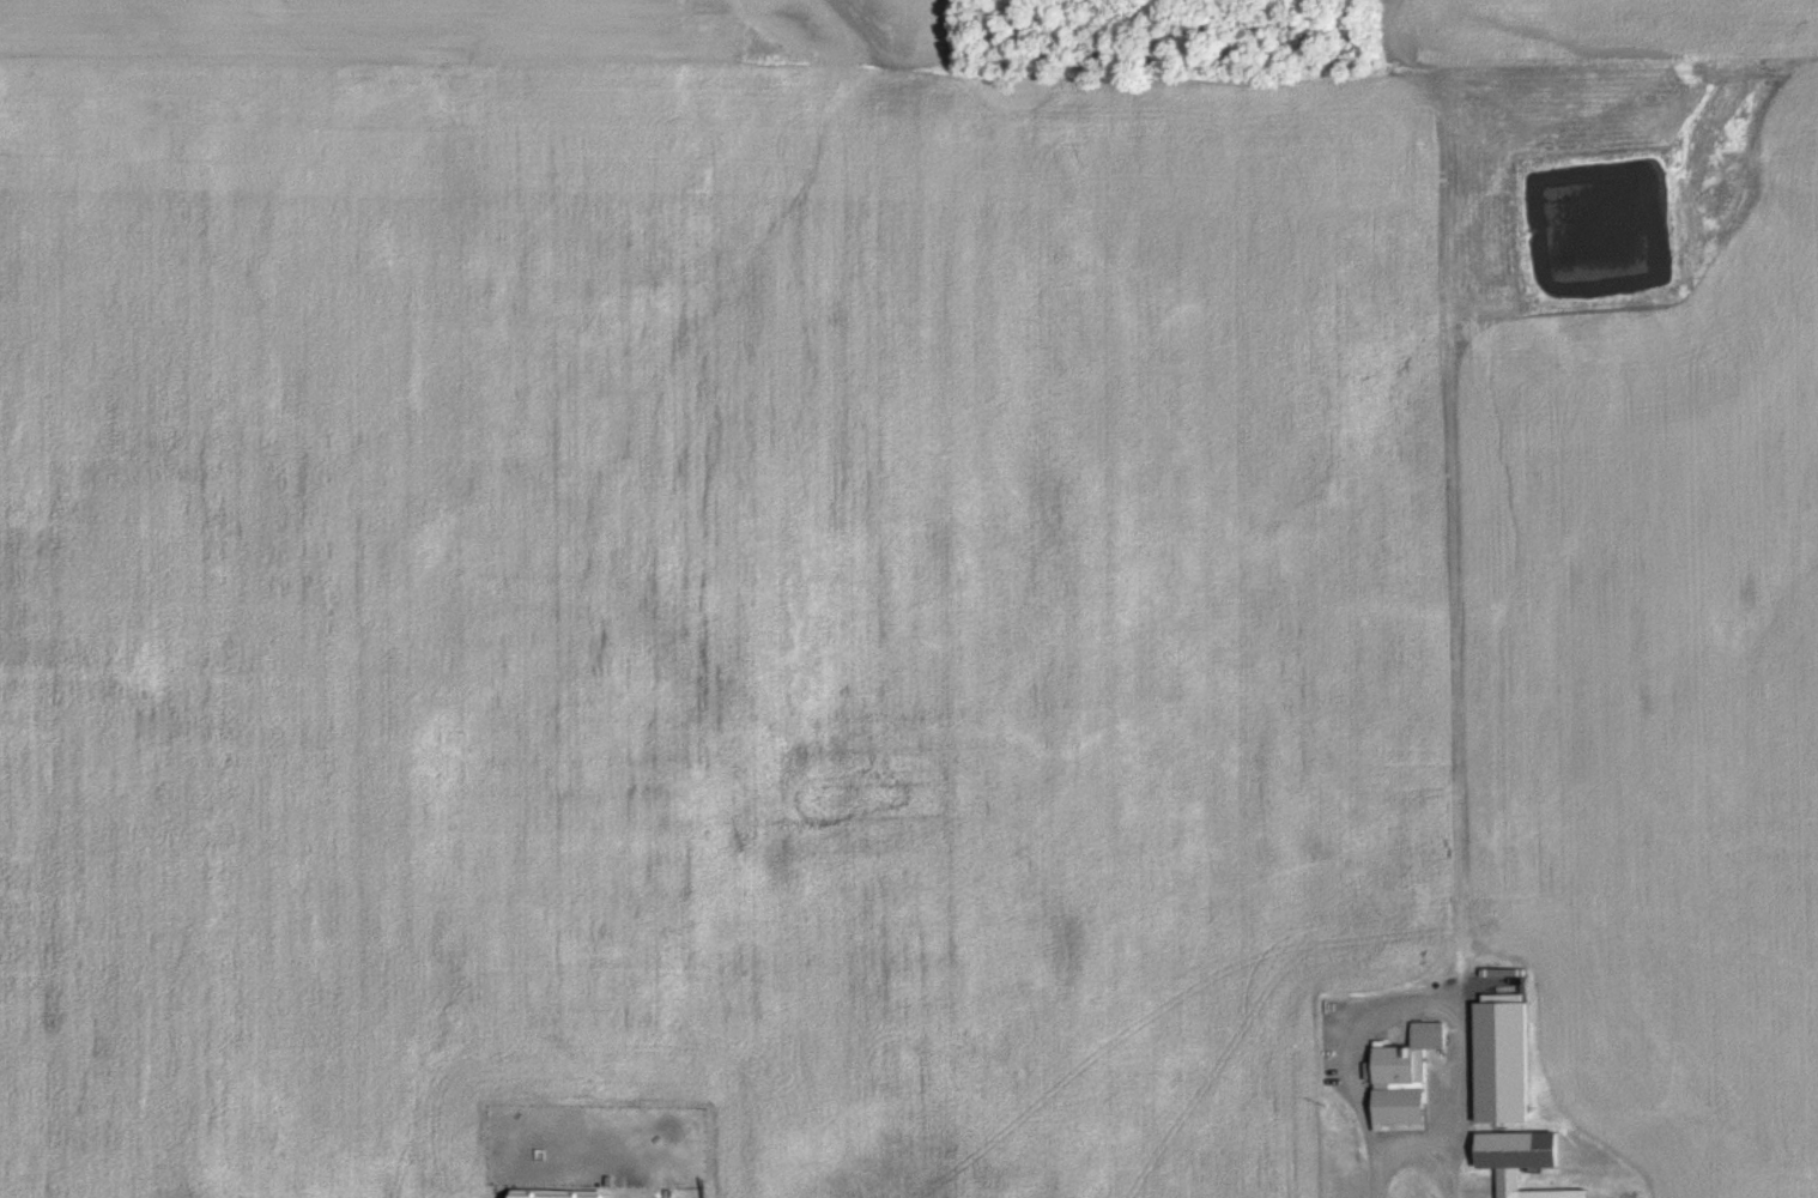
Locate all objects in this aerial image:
crop: (1607, 26)
crop: (698, 604)
crop: (1648, 724)
building: (1410, 1076)
building: (1523, 1162)
road: (1420, 1168)
building: (559, 1194)

